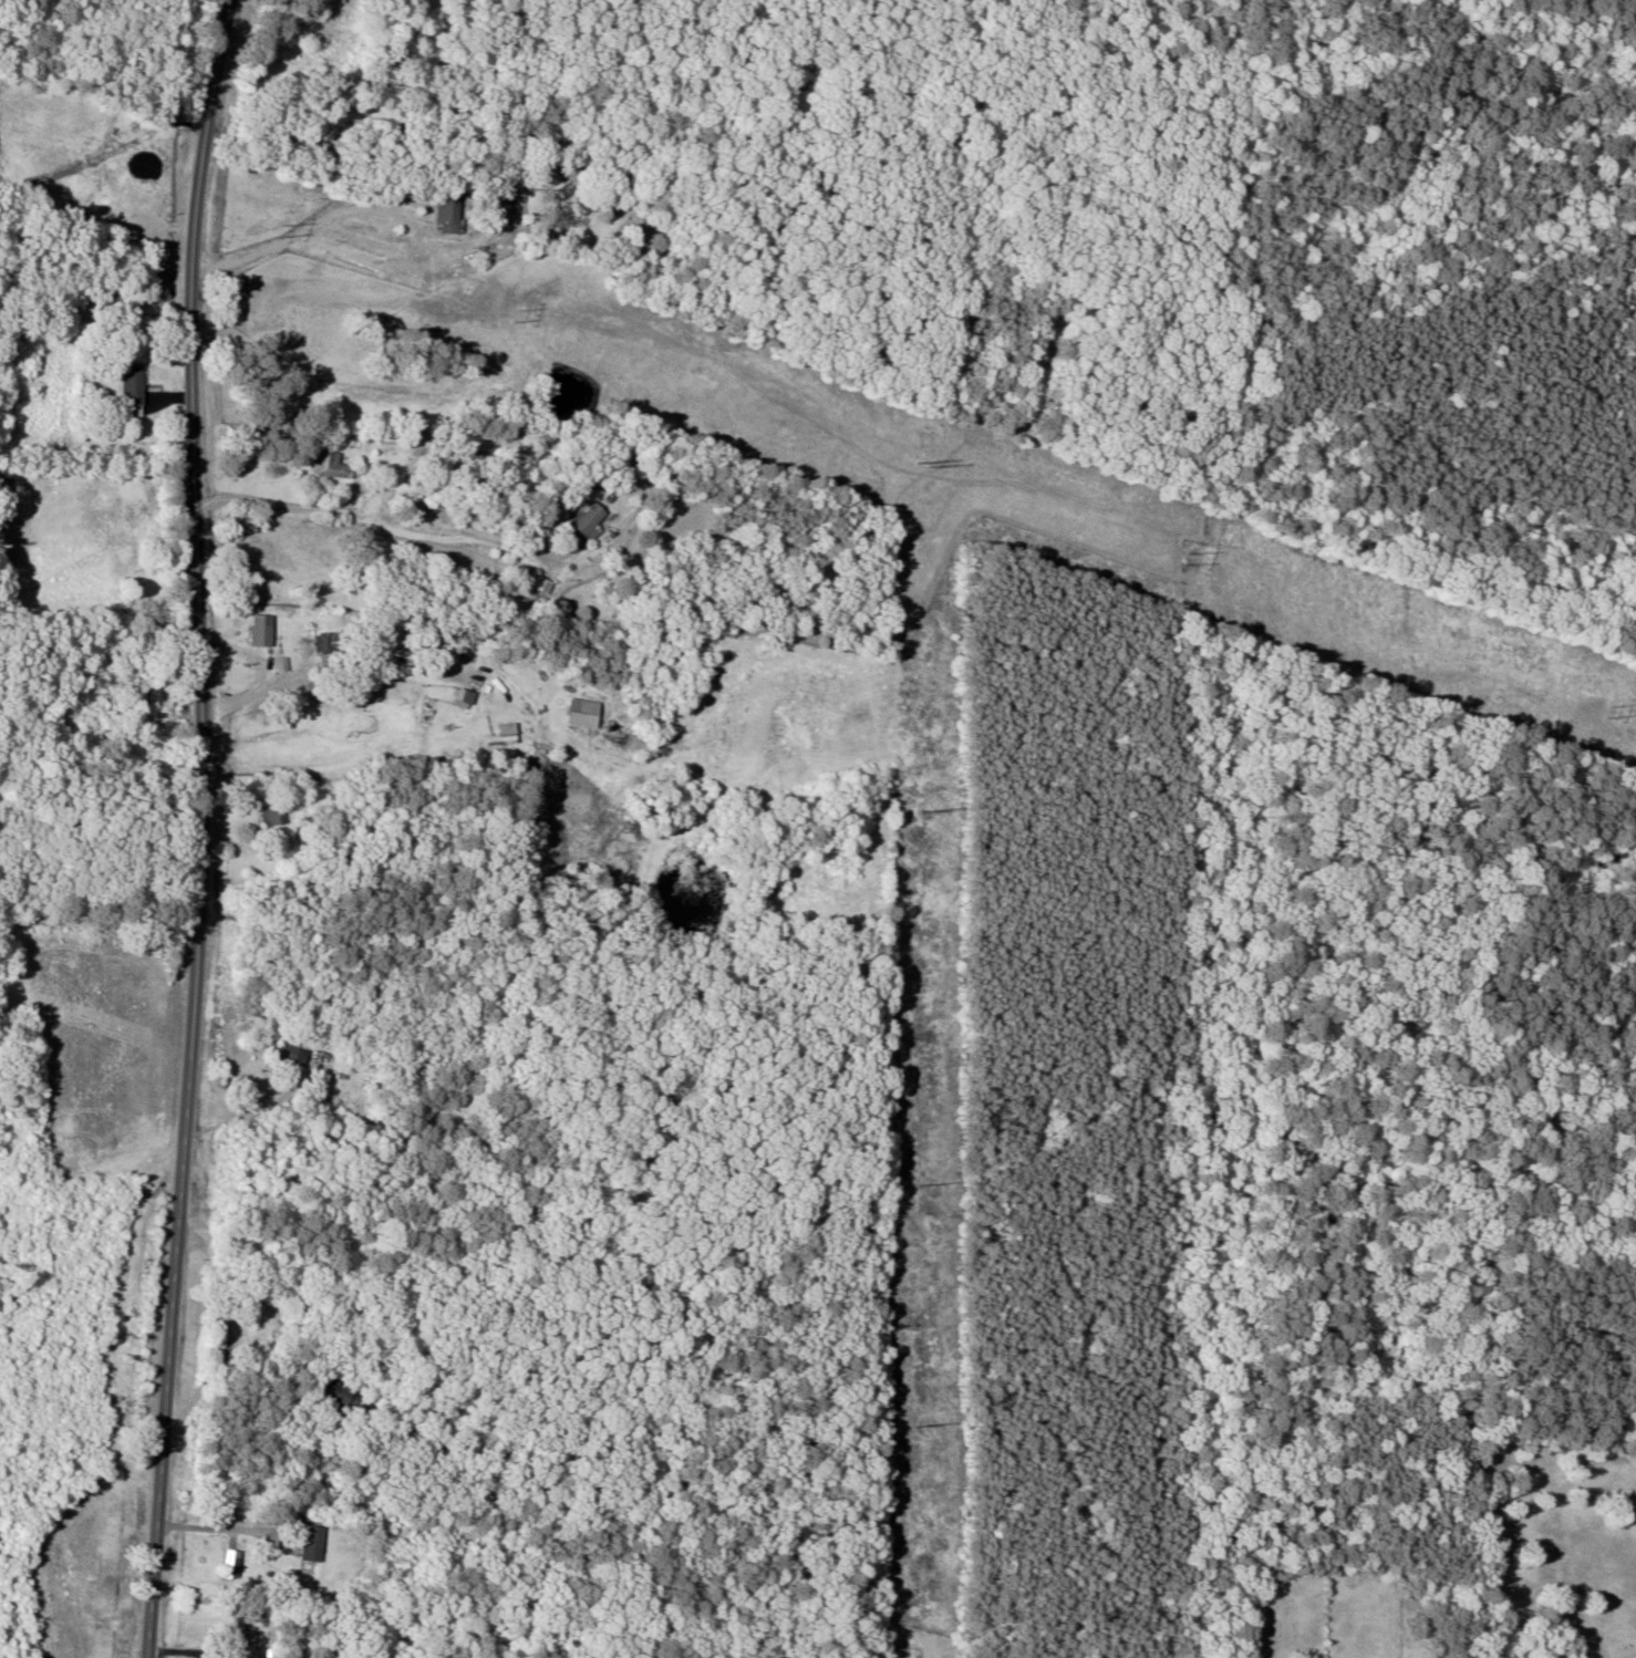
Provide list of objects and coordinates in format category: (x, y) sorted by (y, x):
building: (571, 169)
building: (497, 207)
building: (452, 213)
power tower: (279, 228)
building: (135, 386)
building: (334, 465)
building: (592, 519)
power tower: (1178, 562)
building: (537, 581)
road: (364, 614)
building: (263, 631)
building: (156, 693)
building: (466, 700)
building: (501, 704)
building: (277, 815)
road: (201, 828)
road: (99, 923)
building: (292, 1055)
building: (387, 1130)
building: (437, 1451)
building: (308, 1535)
building: (234, 1565)
road: (262, 1630)
building: (247, 1645)

